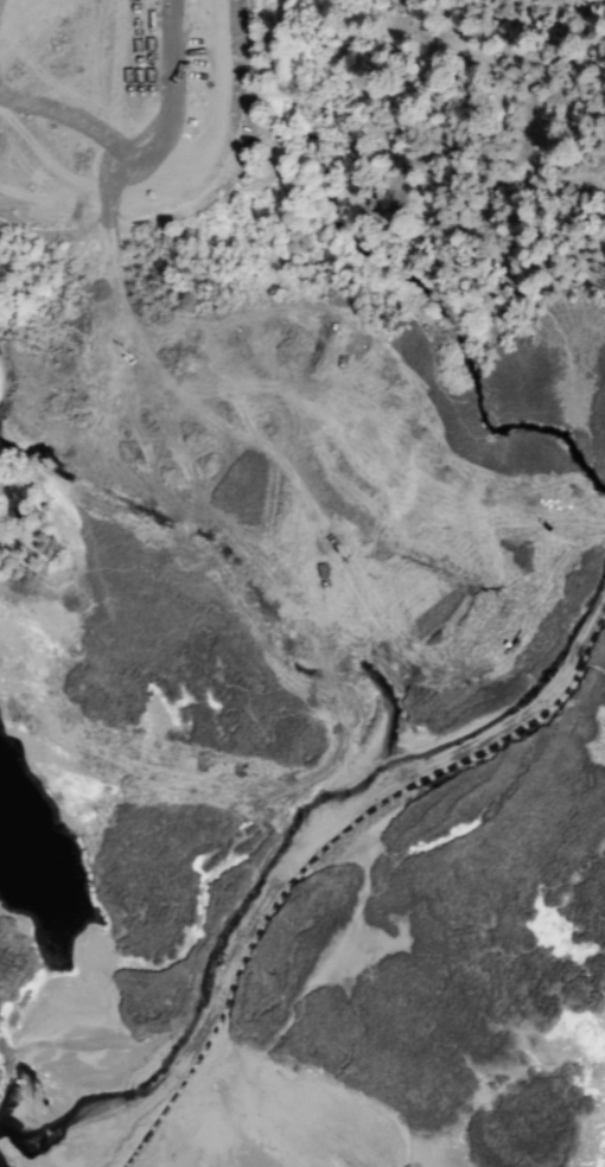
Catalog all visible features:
building: (23, 510)

